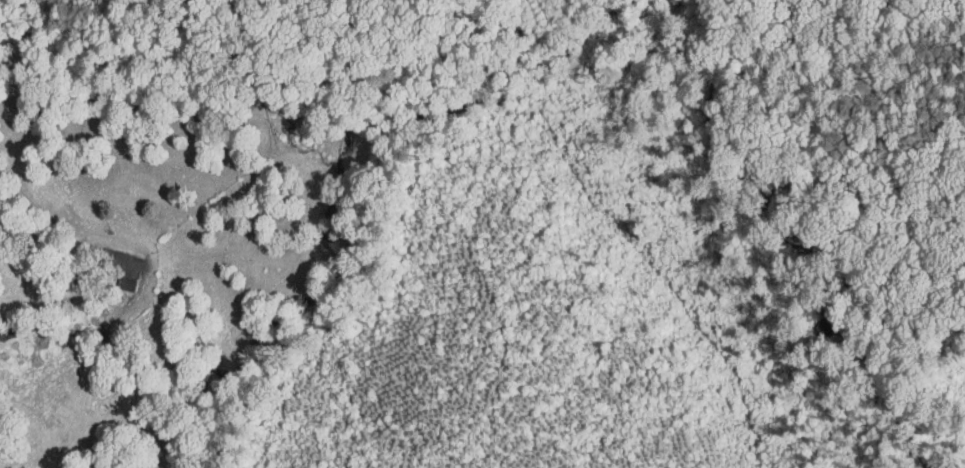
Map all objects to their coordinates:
building: (109, 258)

